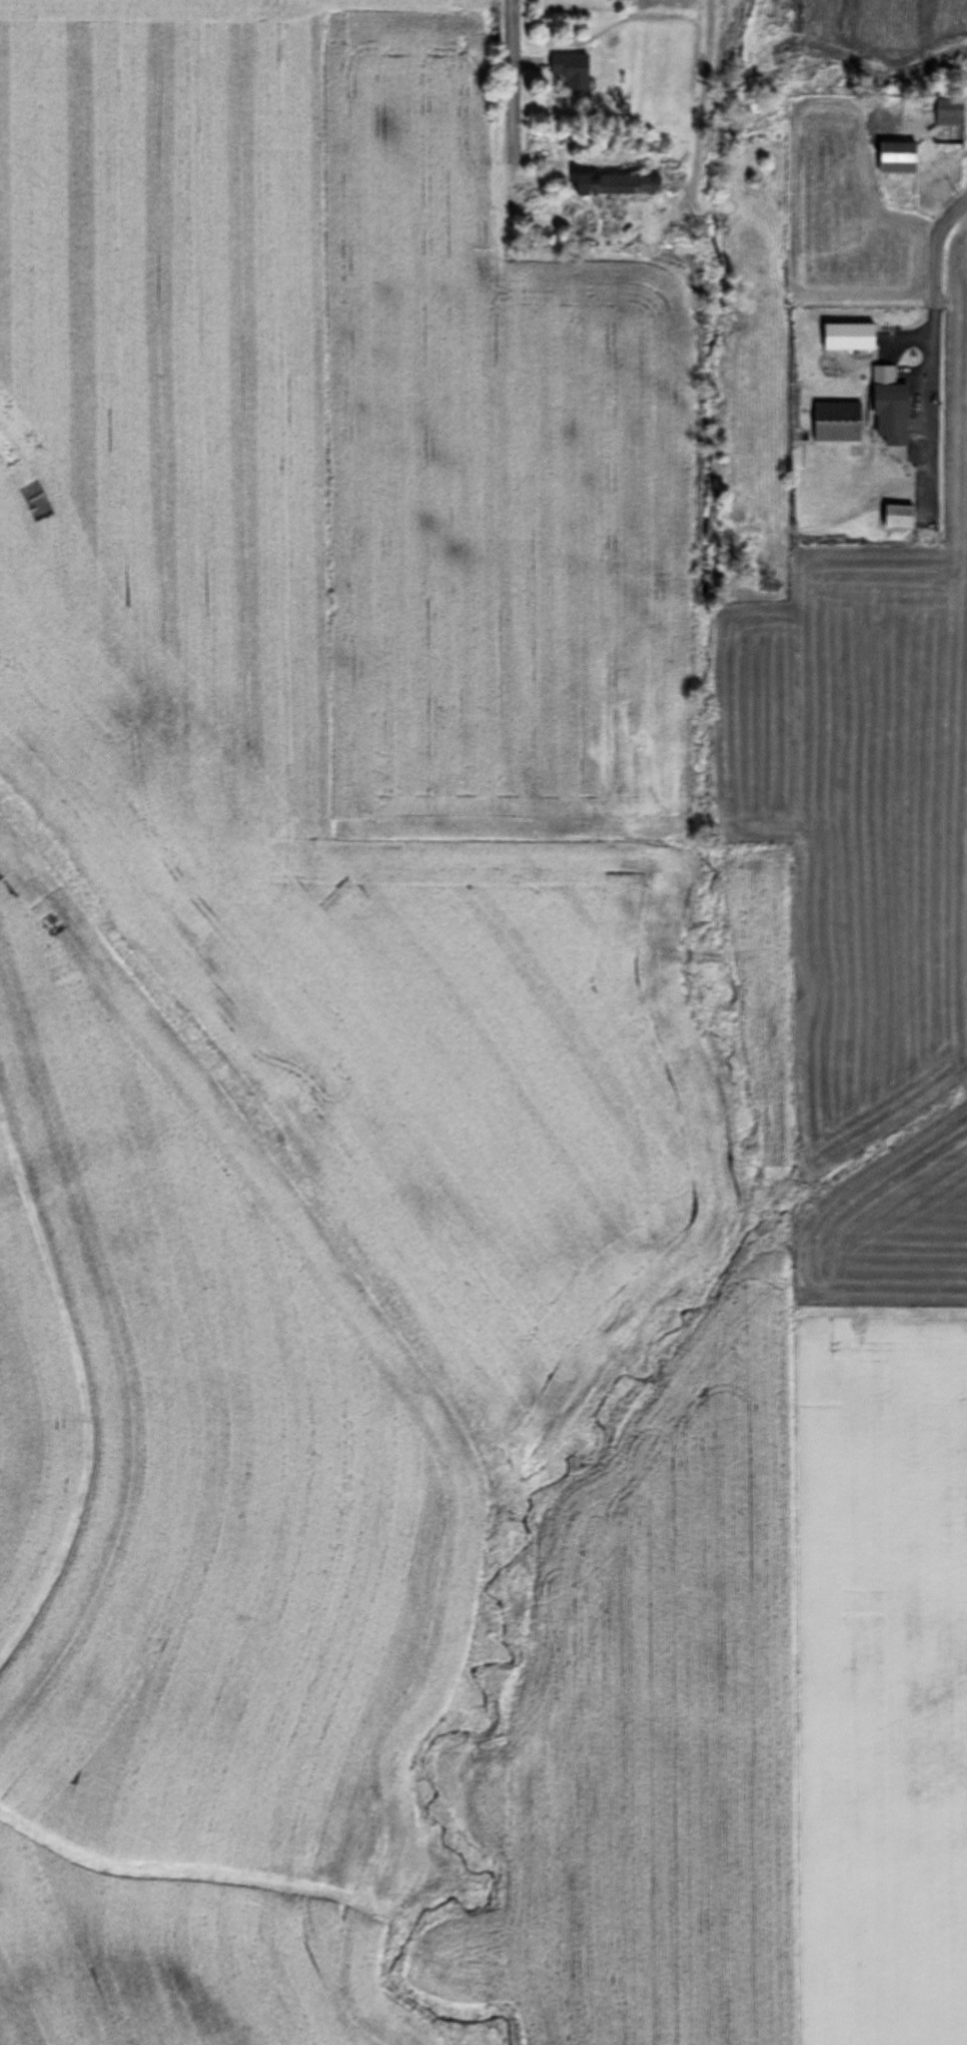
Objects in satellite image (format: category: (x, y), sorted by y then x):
road: (514, 56)
building: (570, 71)
building: (949, 112)
building: (896, 158)
building: (608, 185)
road: (939, 255)
building: (847, 338)
building: (888, 409)
building: (836, 423)
building: (897, 518)

